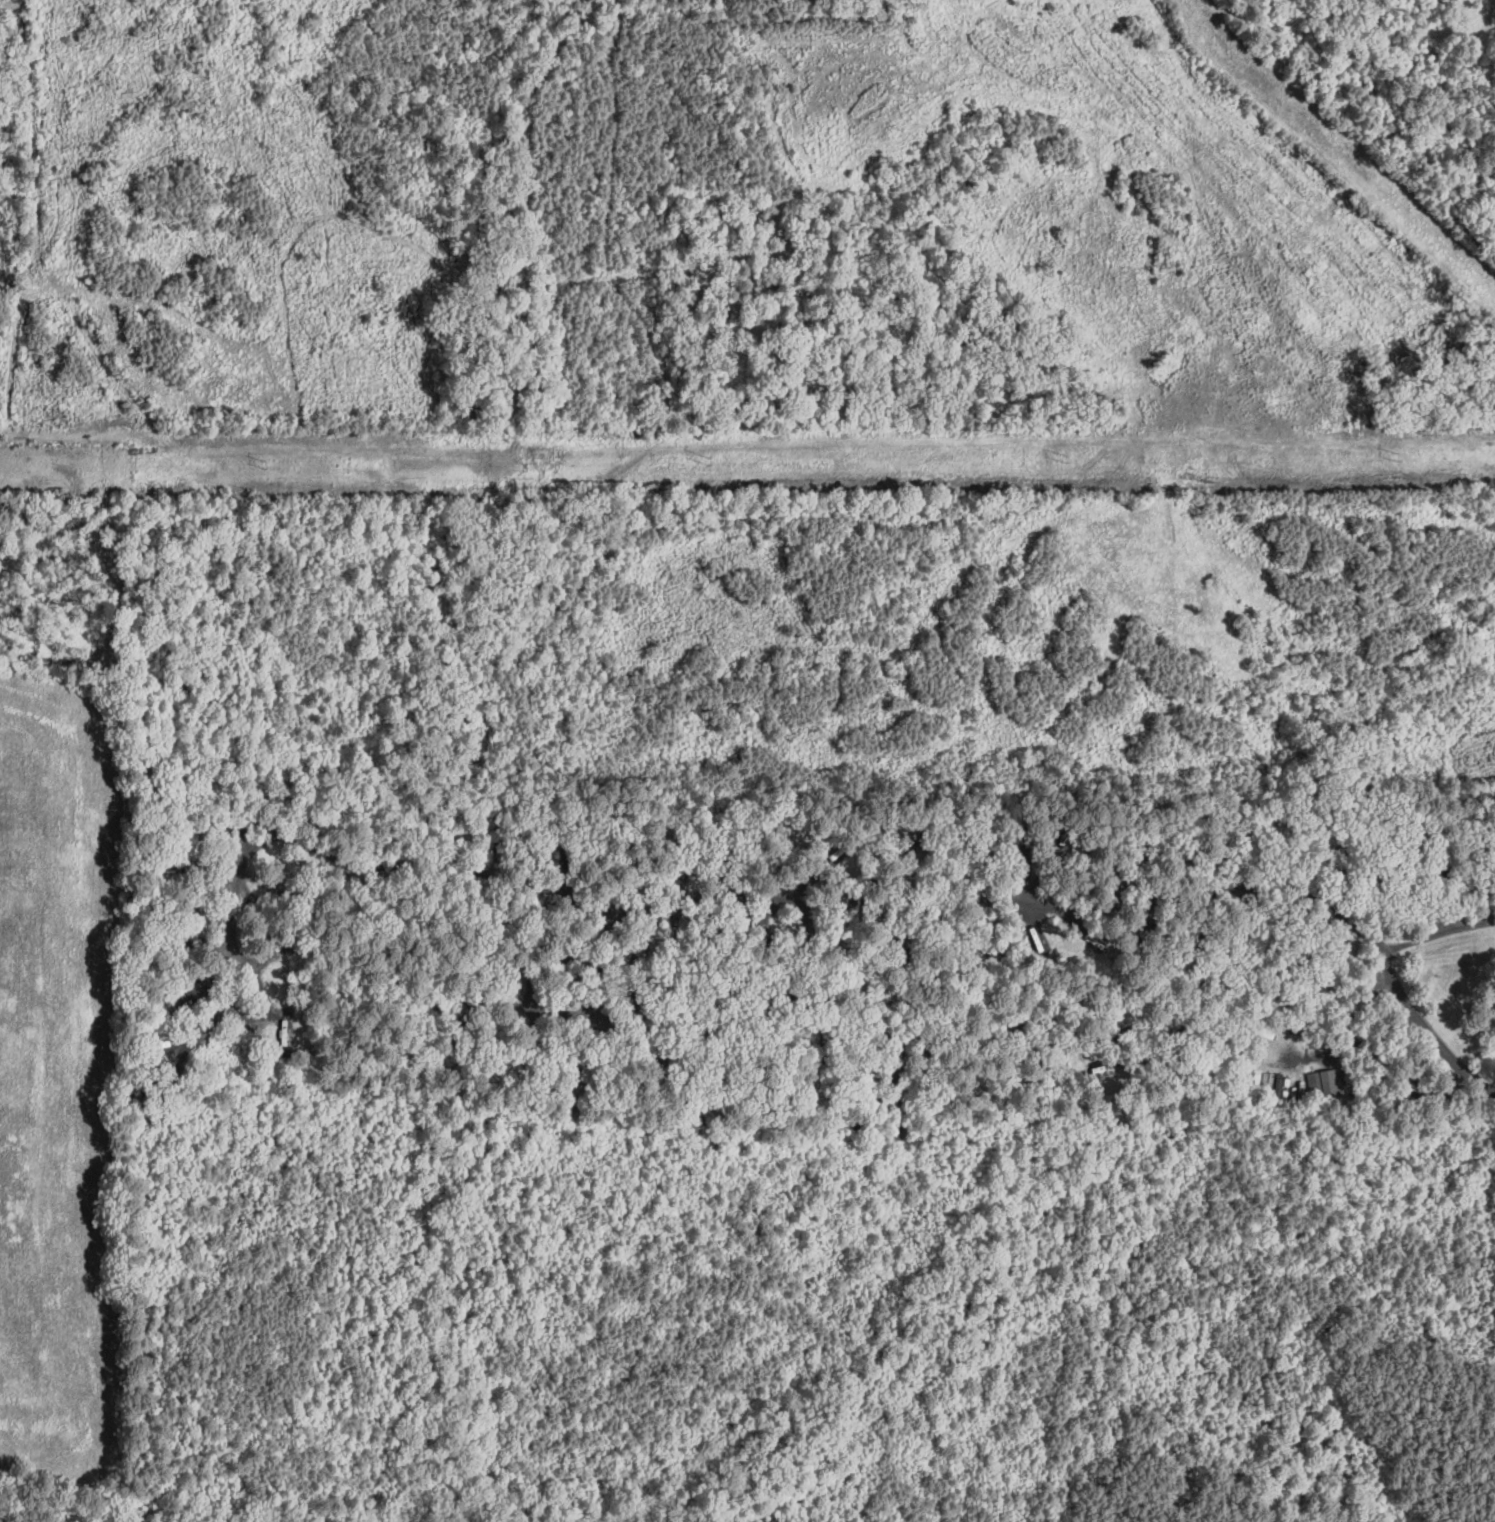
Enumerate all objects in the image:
building: (1028, 838)
building: (1065, 844)
building: (1095, 849)
building: (982, 857)
road: (681, 911)
road: (1437, 937)
building: (736, 938)
building: (710, 942)
building: (608, 945)
building: (991, 947)
building: (569, 948)
building: (642, 954)
road: (1389, 970)
building: (769, 987)
road: (741, 1022)
road: (1369, 1042)
road: (1146, 1043)
building: (767, 1056)
building: (532, 1062)
building: (655, 1070)
building: (1399, 1076)
building: (1328, 1082)
building: (1420, 1088)
building: (804, 1090)
building: (700, 1094)

